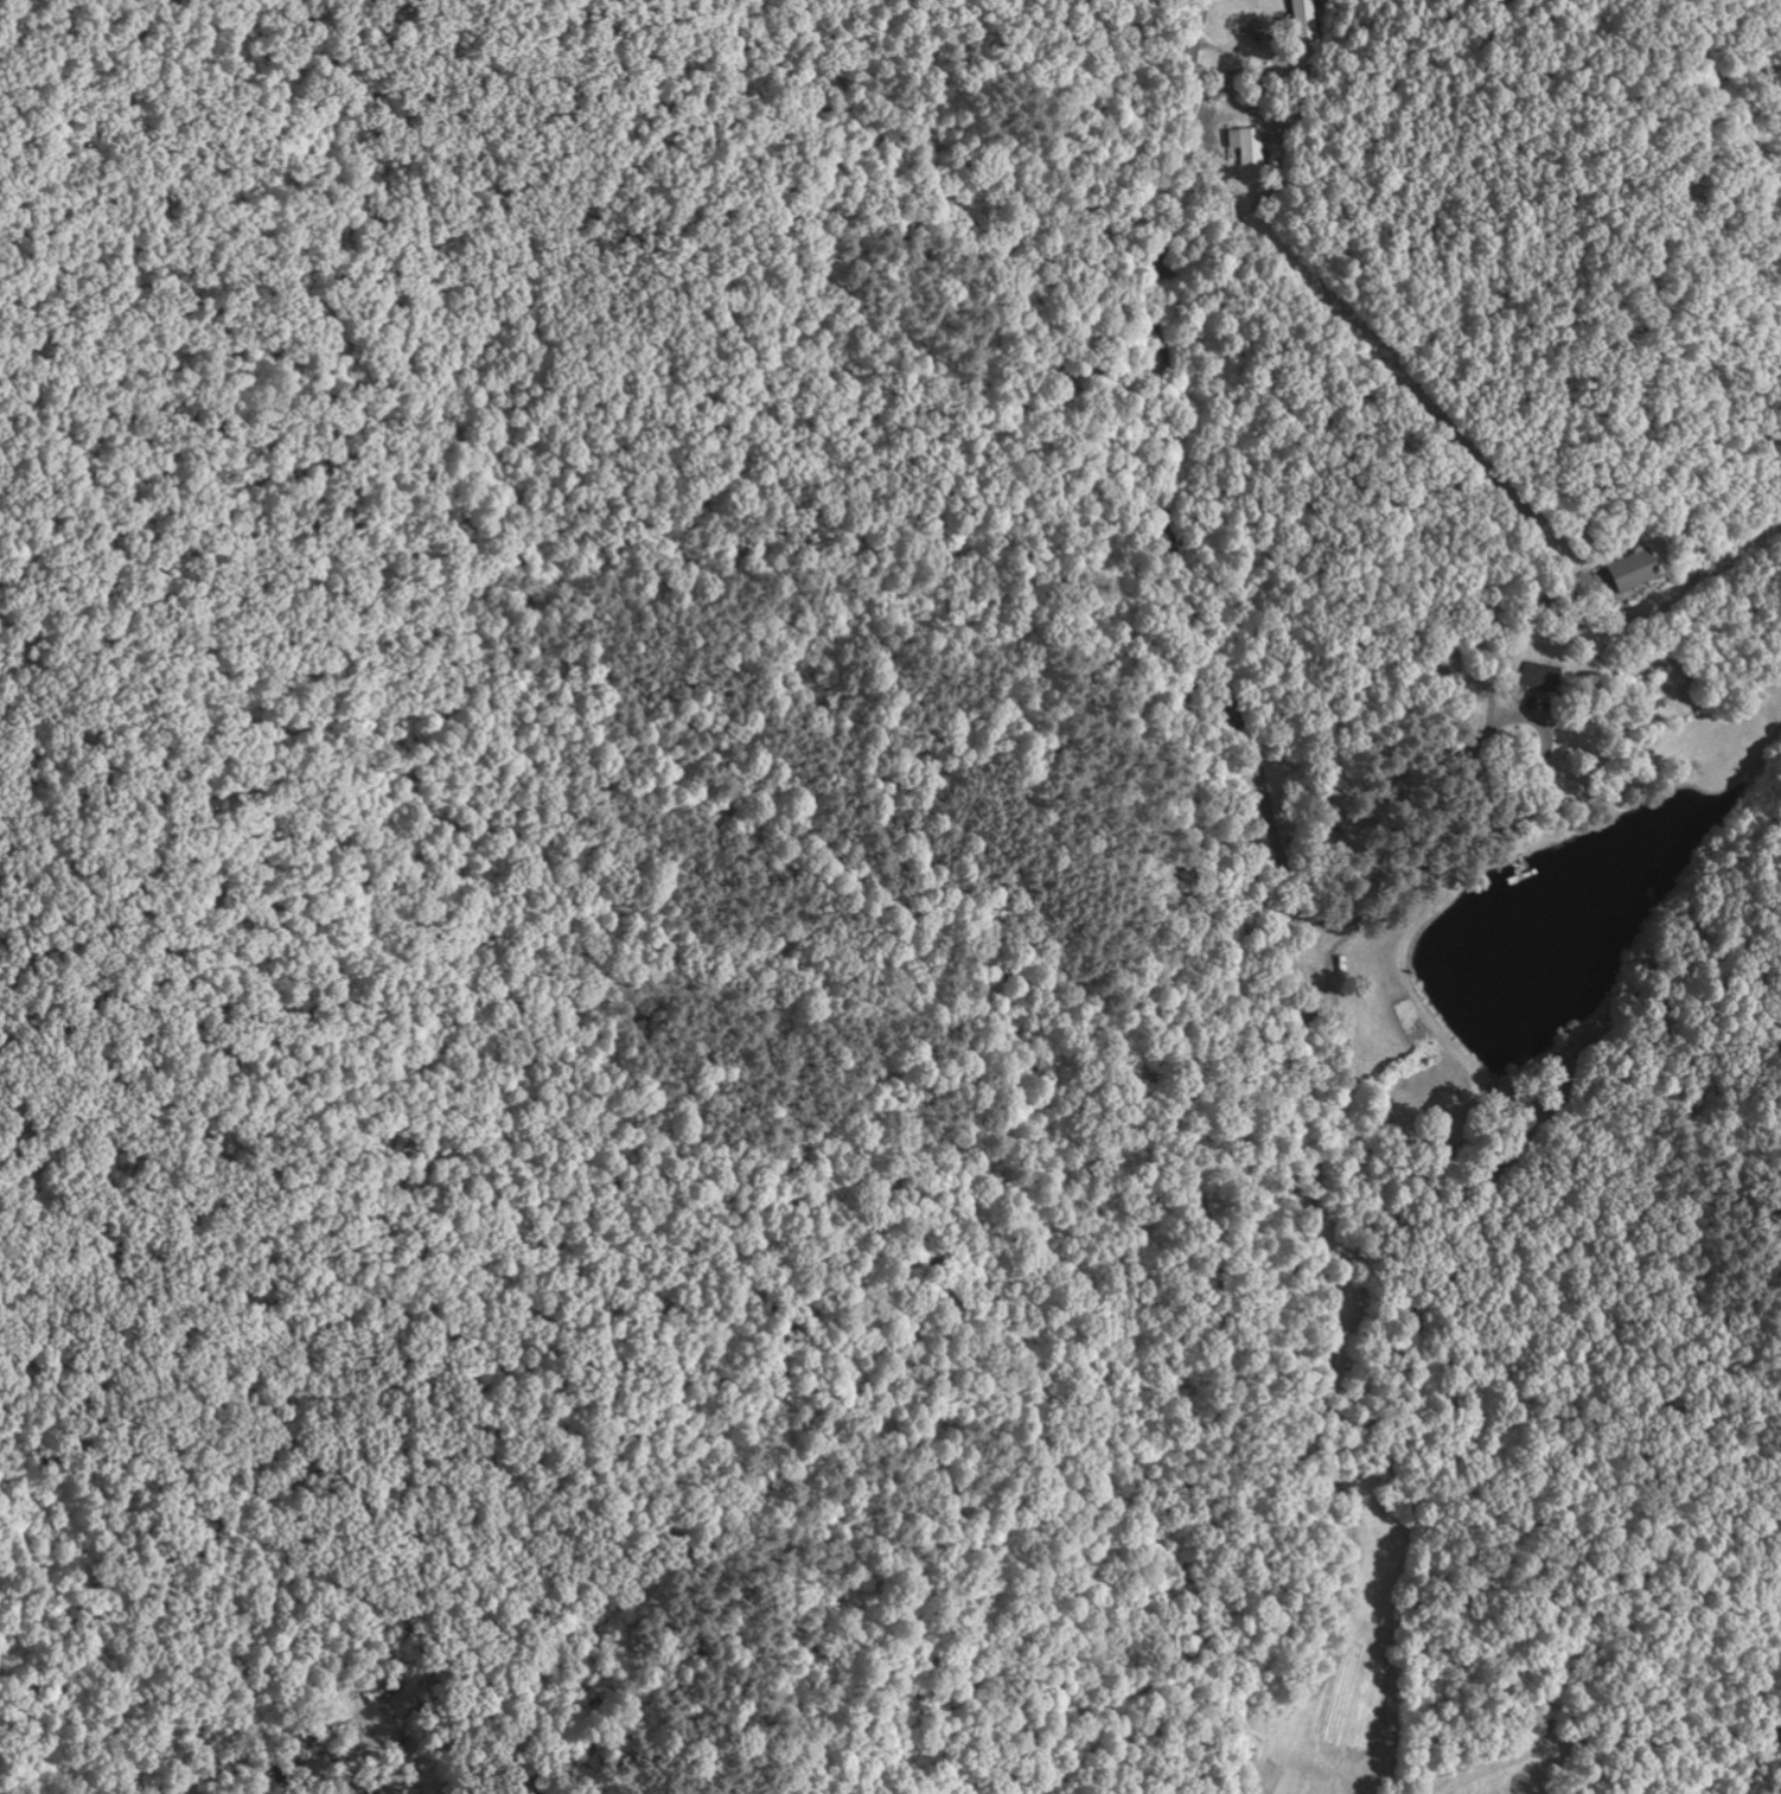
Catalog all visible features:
building: (1307, 15)
building: (1250, 148)
road: (1460, 285)
building: (1636, 569)
building: (1540, 675)

